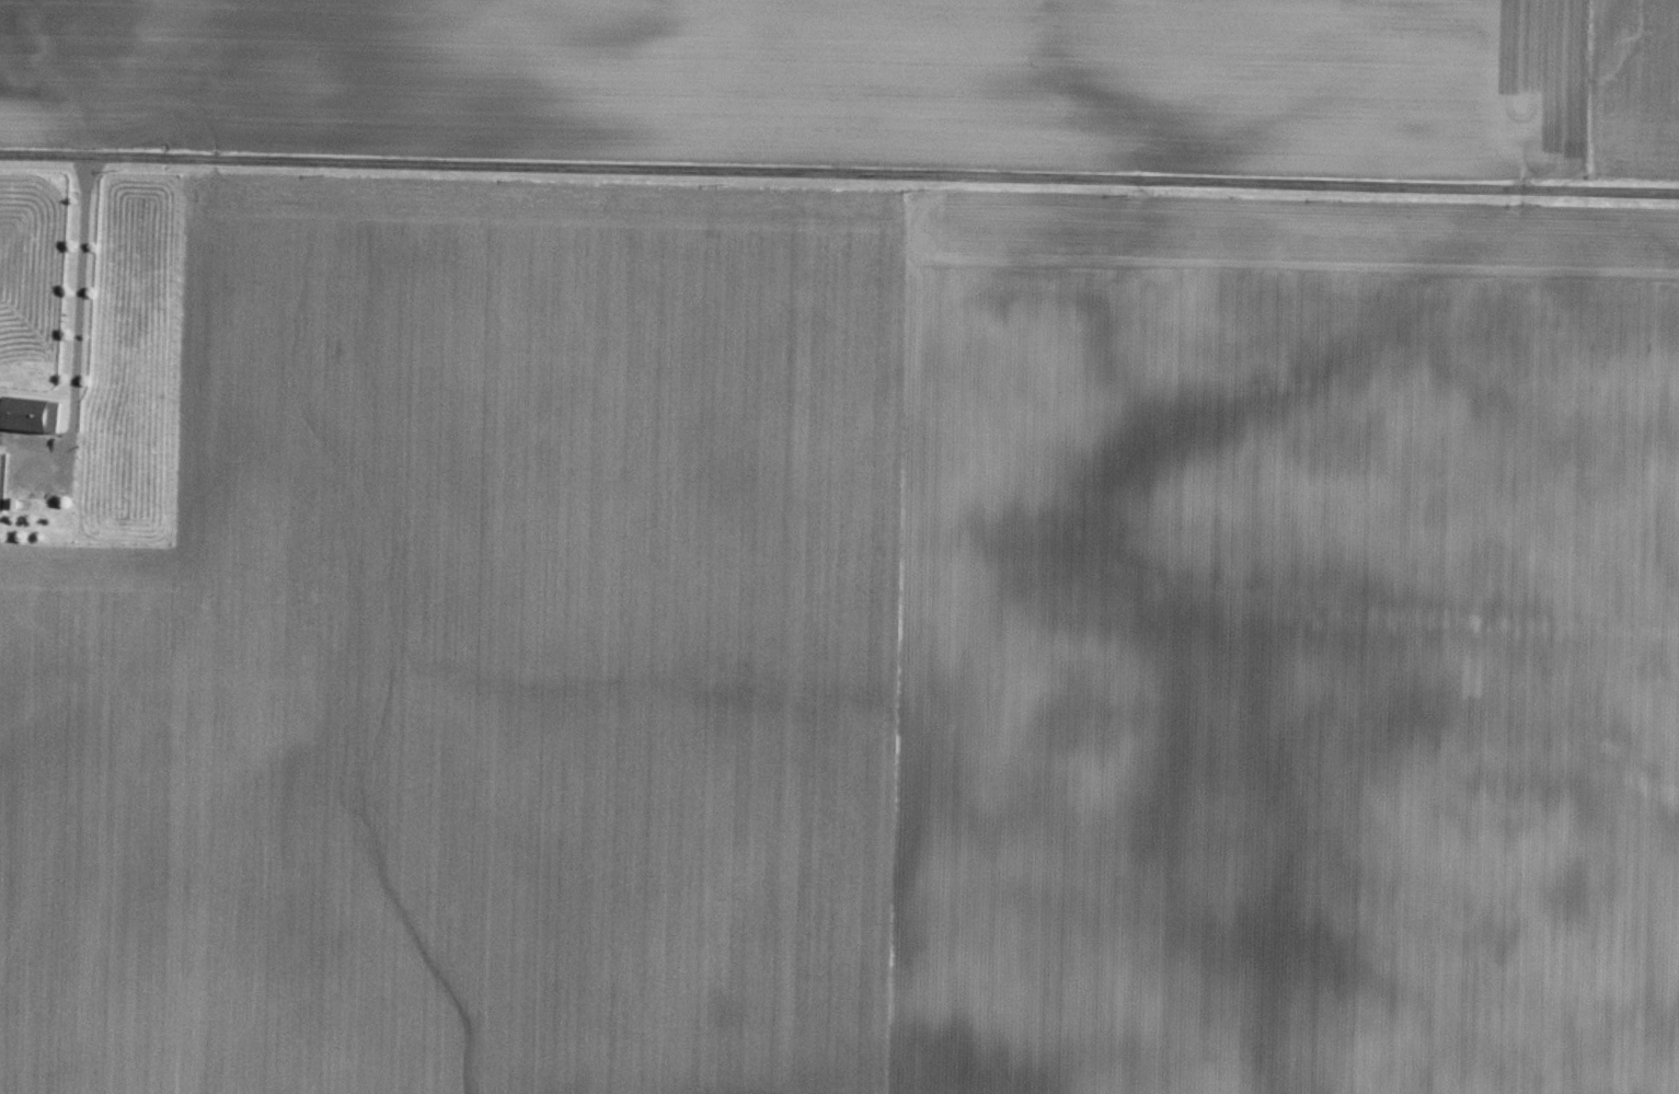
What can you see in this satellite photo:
road: (839, 170)
road: (78, 300)

